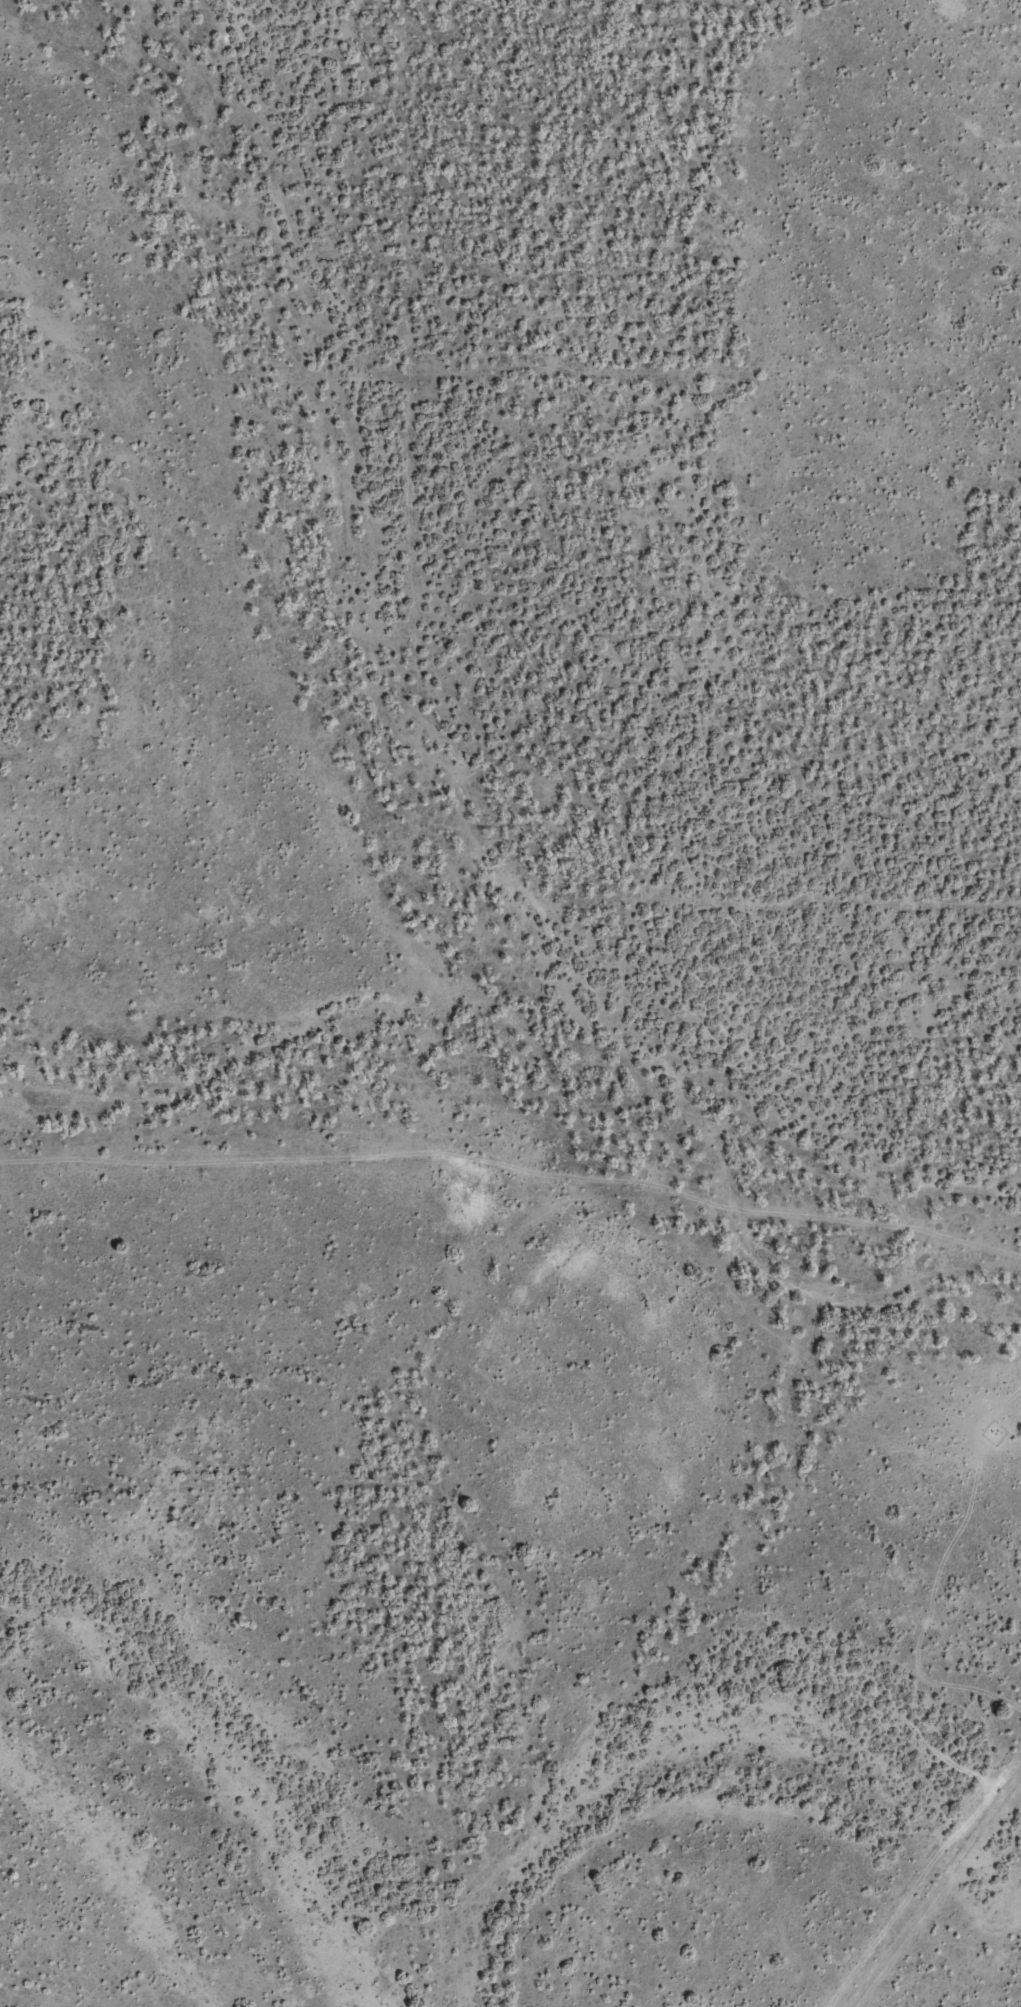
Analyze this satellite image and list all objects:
road: (512, 1216)
road: (1012, 1990)

